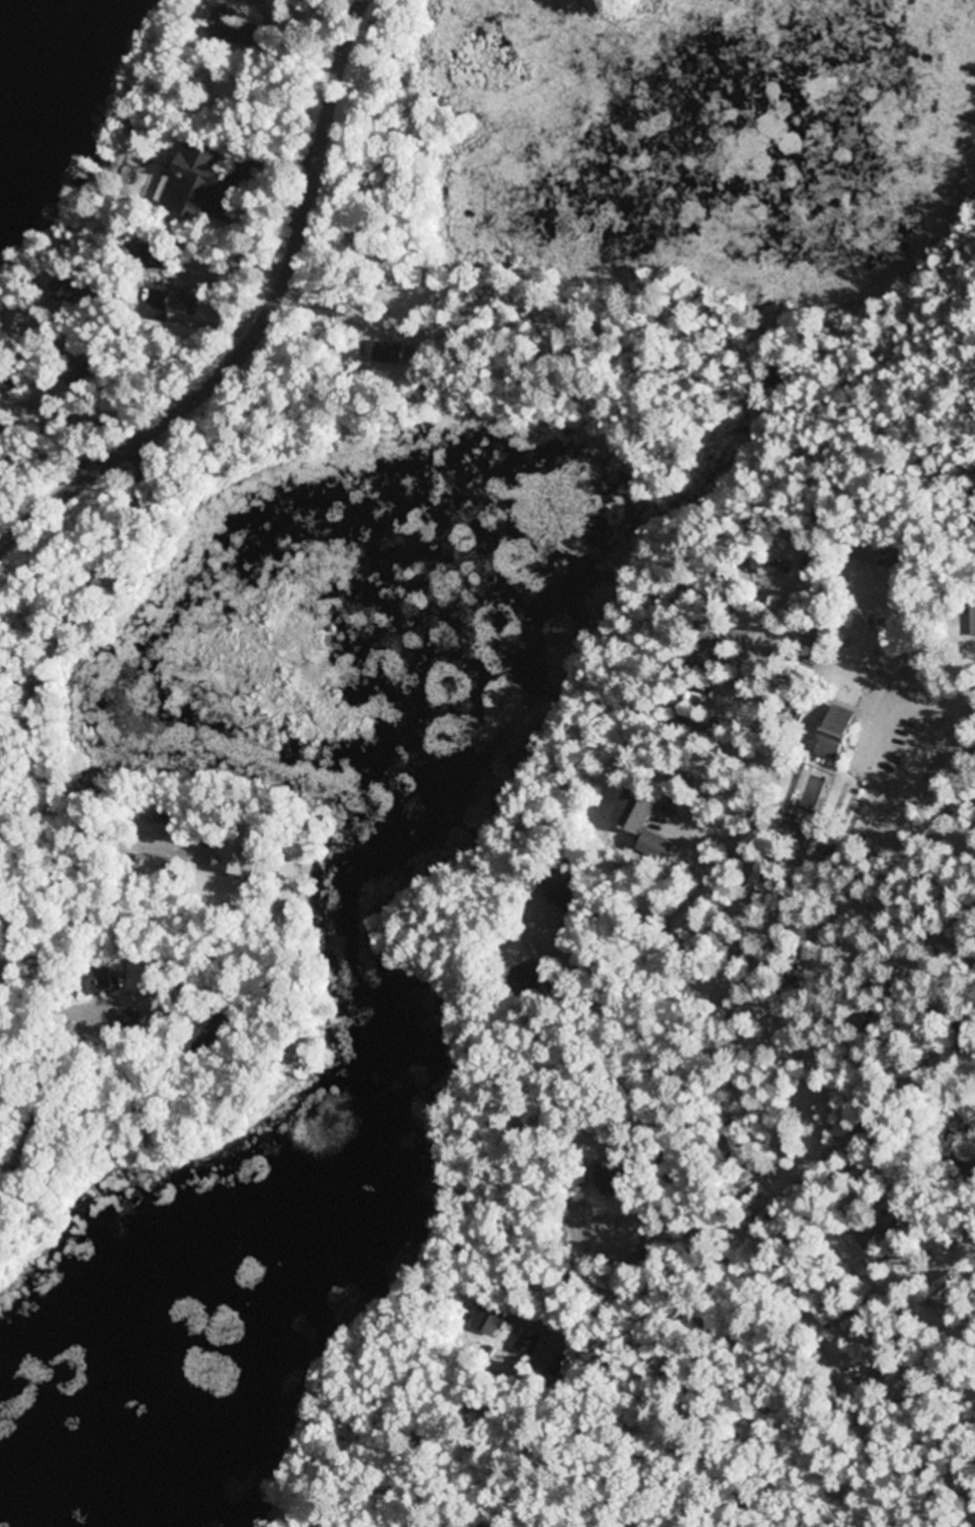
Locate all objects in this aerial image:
building: (231, 28)
building: (196, 183)
building: (65, 291)
building: (179, 303)
building: (25, 323)
road: (259, 328)
building: (394, 352)
building: (7, 380)
building: (962, 635)
building: (837, 735)
building: (646, 826)
building: (238, 860)
building: (146, 867)
building: (568, 890)
building: (527, 979)
road: (828, 1033)
building: (786, 1148)
road: (698, 1181)
building: (487, 1319)
building: (527, 1343)
road: (962, 1402)
road: (912, 1472)
road: (841, 1512)

